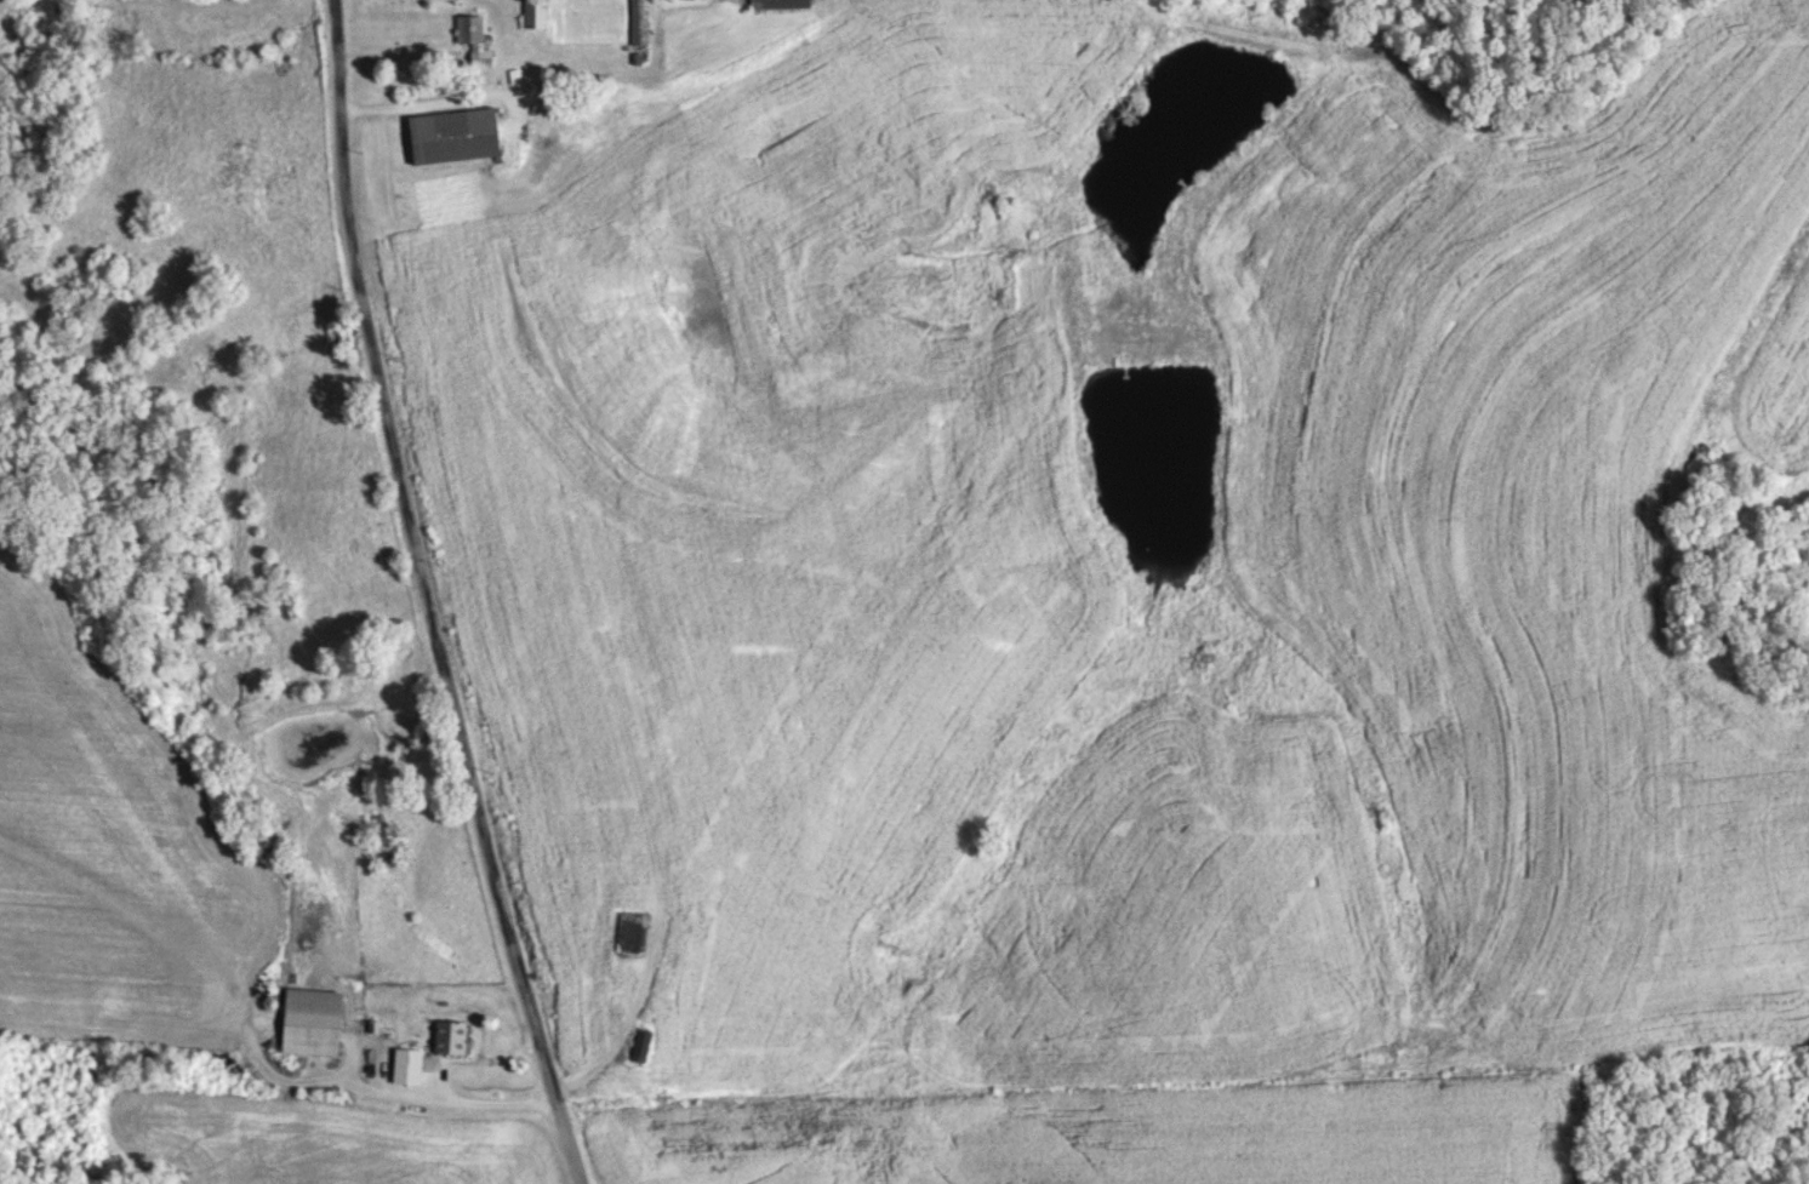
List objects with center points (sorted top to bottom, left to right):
building: (780, 4)
building: (535, 13)
building: (639, 22)
building: (474, 39)
road: (487, 88)
building: (456, 136)
road: (430, 596)
building: (632, 930)
building: (312, 1020)
building: (451, 1036)
building: (641, 1043)
building: (407, 1064)
road: (483, 1100)

